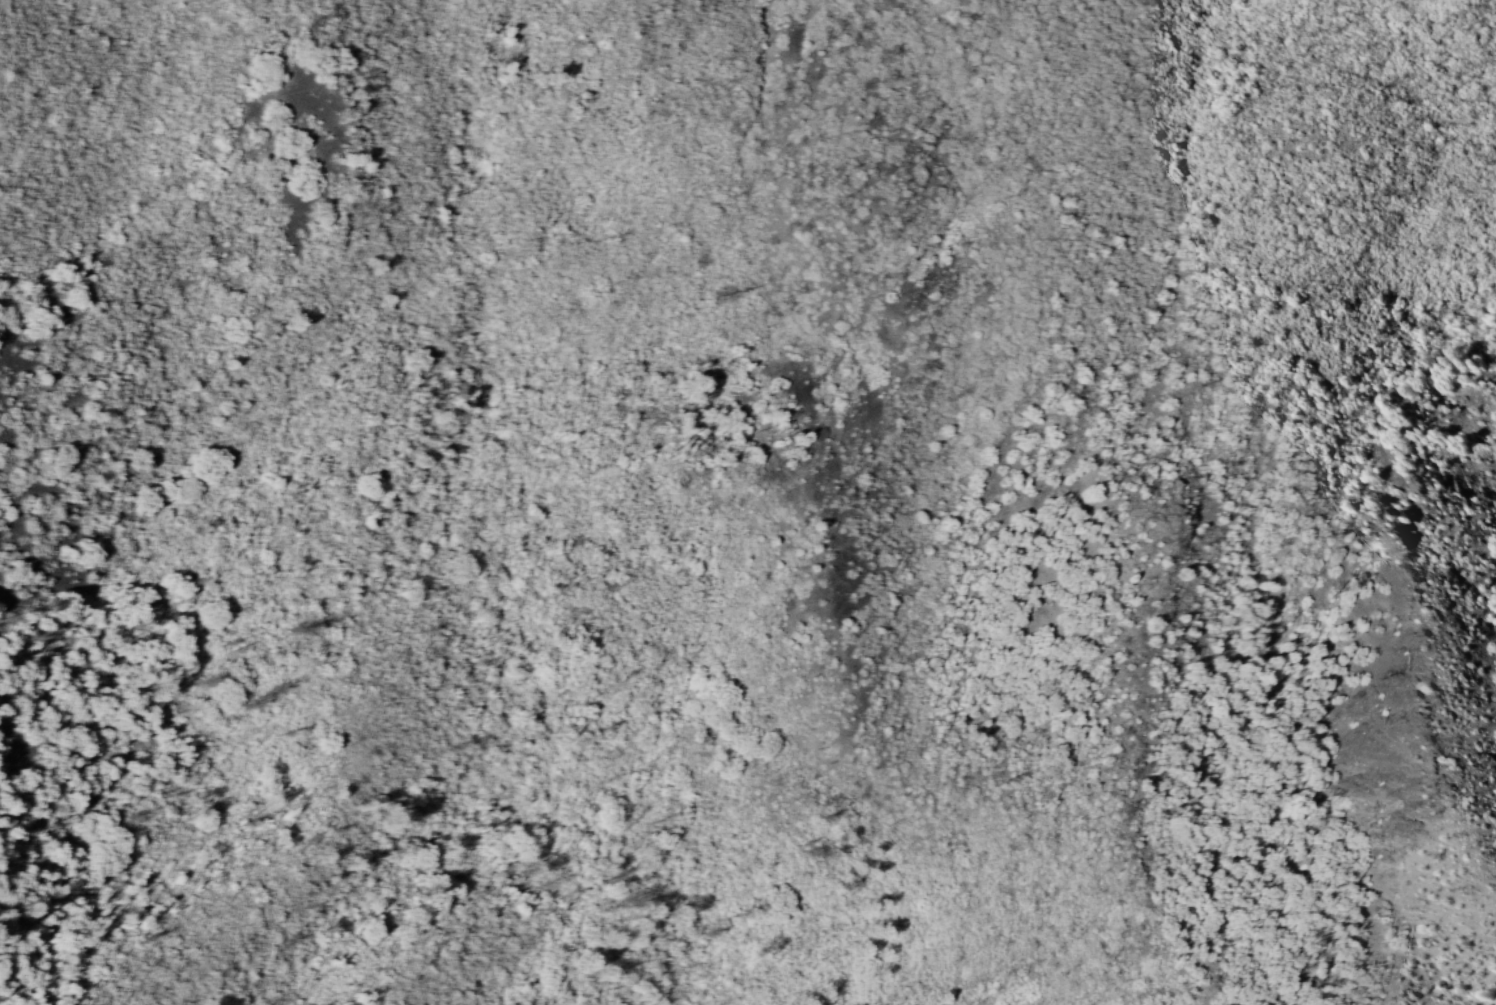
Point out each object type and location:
road: (1490, 996)

